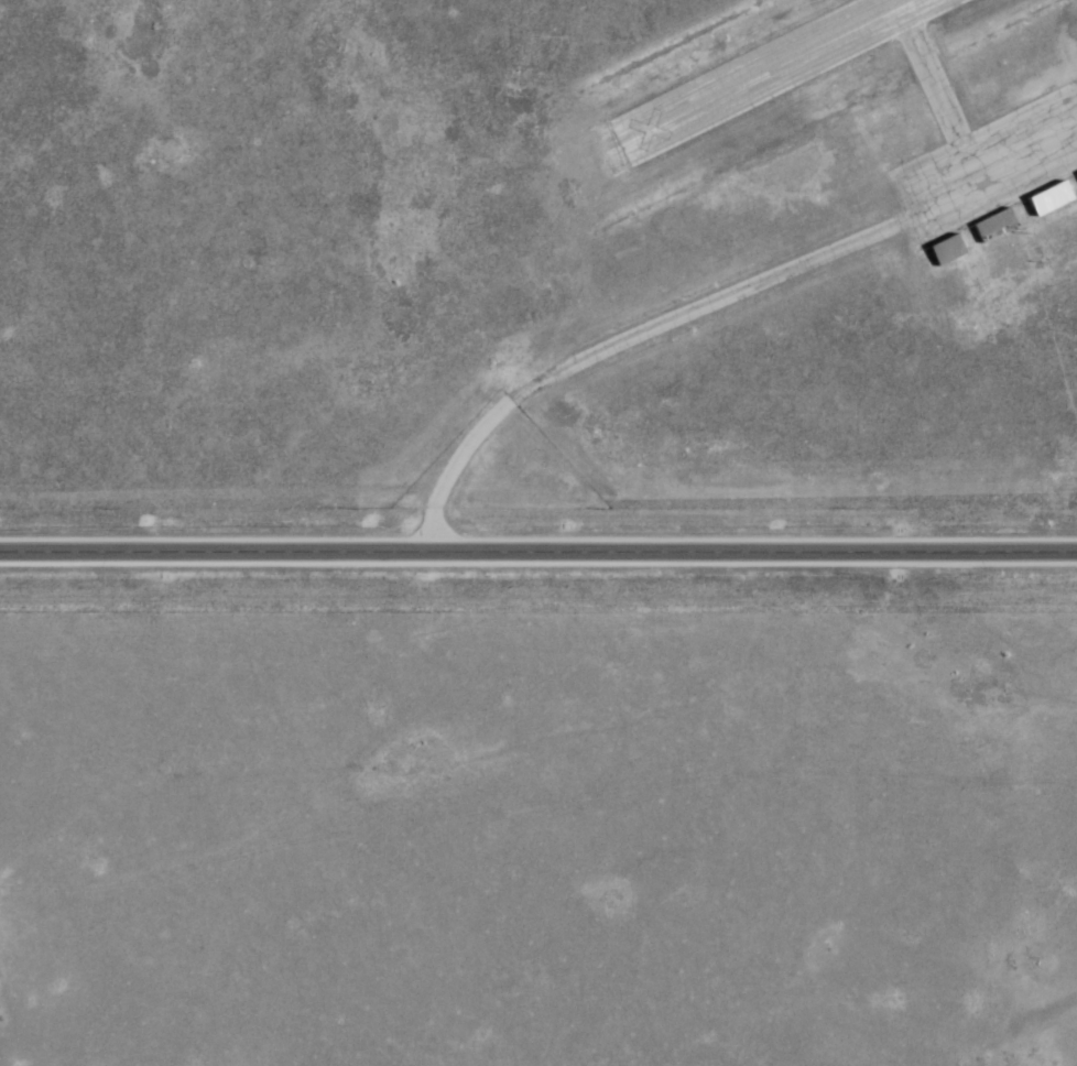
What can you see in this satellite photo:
airport taxiway: (931, 70)
airport apron: (990, 167)
building: (1052, 198)
building: (997, 226)
building: (948, 249)
road: (625, 340)
road: (537, 554)

